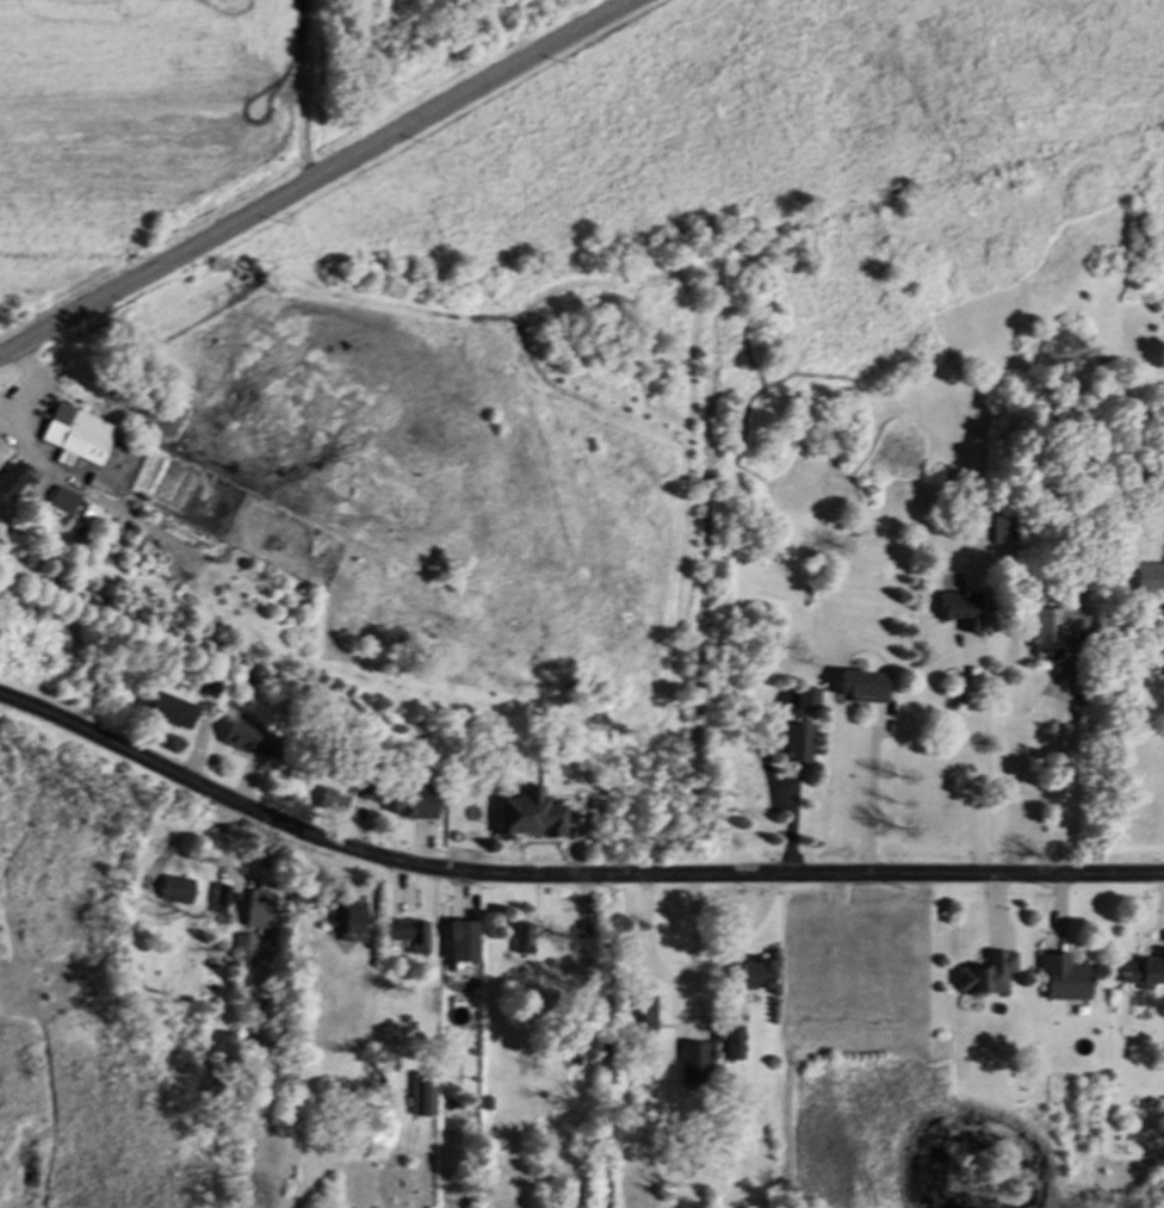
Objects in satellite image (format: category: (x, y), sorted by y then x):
road: (316, 181)
road: (23, 379)
building: (80, 438)
building: (14, 484)
building: (66, 502)
building: (1004, 527)
building: (1151, 581)
building: (866, 688)
building: (809, 706)
building: (175, 712)
building: (249, 743)
building: (800, 745)
road: (974, 770)
road: (1055, 789)
building: (371, 792)
building: (419, 805)
road: (868, 805)
building: (534, 817)
road: (564, 875)
building: (180, 894)
building: (222, 897)
building: (262, 911)
building: (353, 924)
building: (413, 937)
building: (520, 941)
building: (466, 943)
road: (694, 949)
building: (1145, 973)
building: (987, 974)
building: (760, 977)
building: (1066, 980)
road: (695, 983)
building: (735, 1045)

